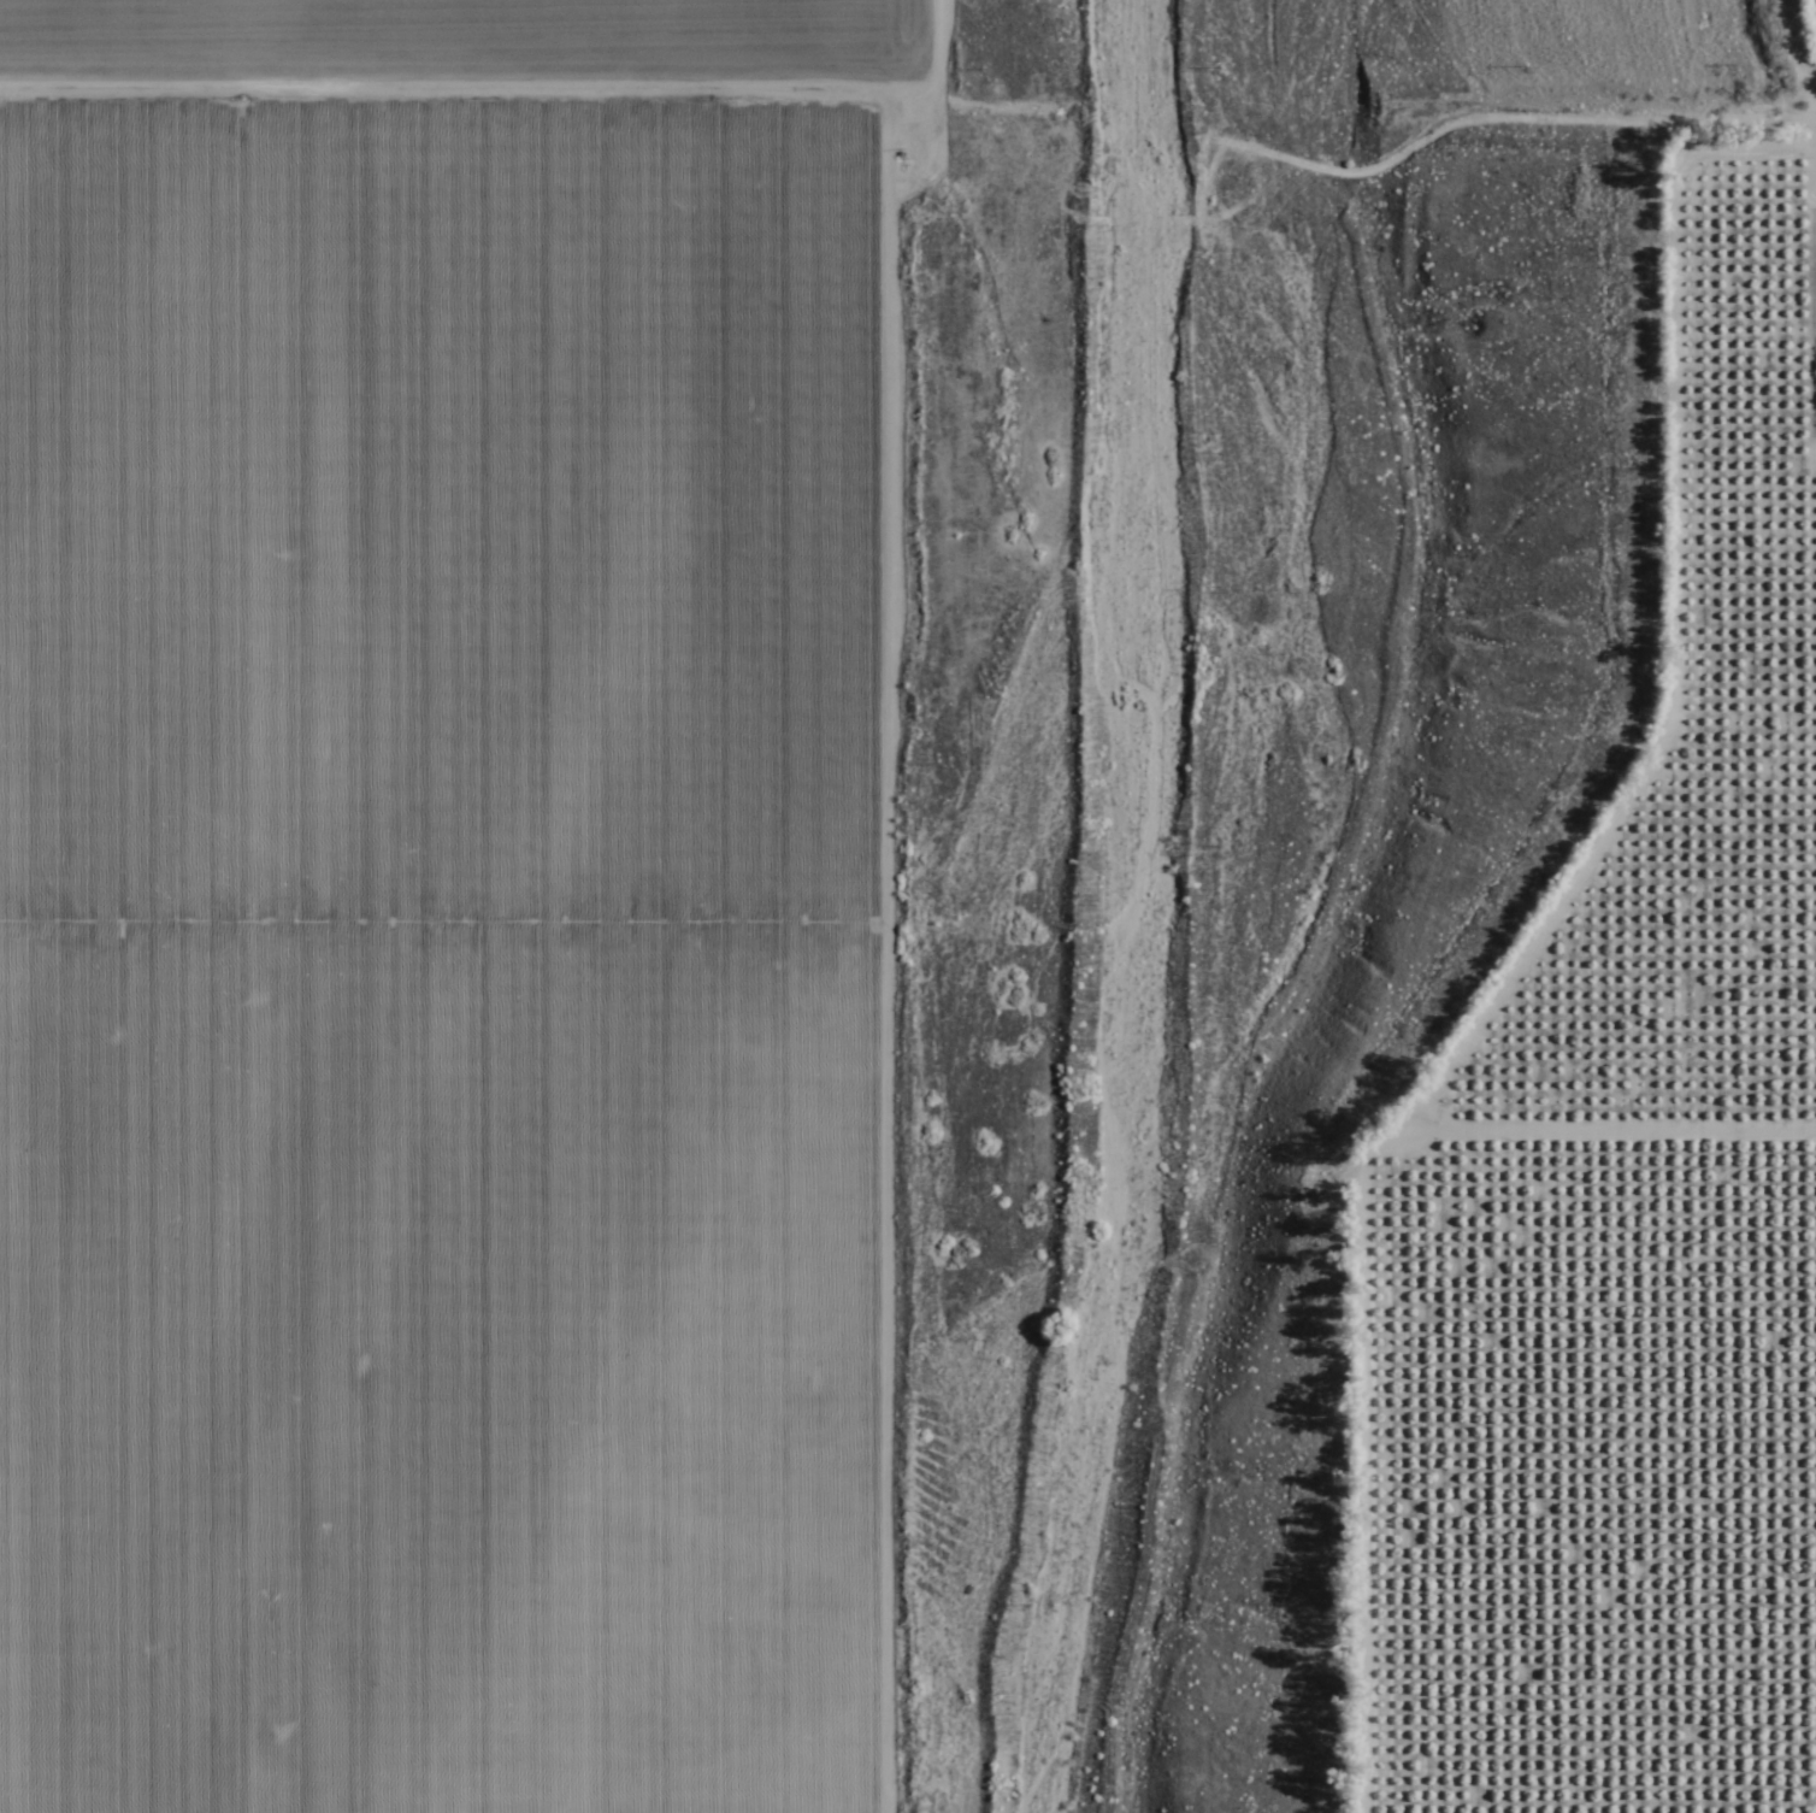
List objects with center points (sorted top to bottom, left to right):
wastewater plant: (1328, 34)
road: (1782, 55)
road: (896, 116)
road: (1187, 865)
crop: (446, 903)
crop: (1639, 1183)

